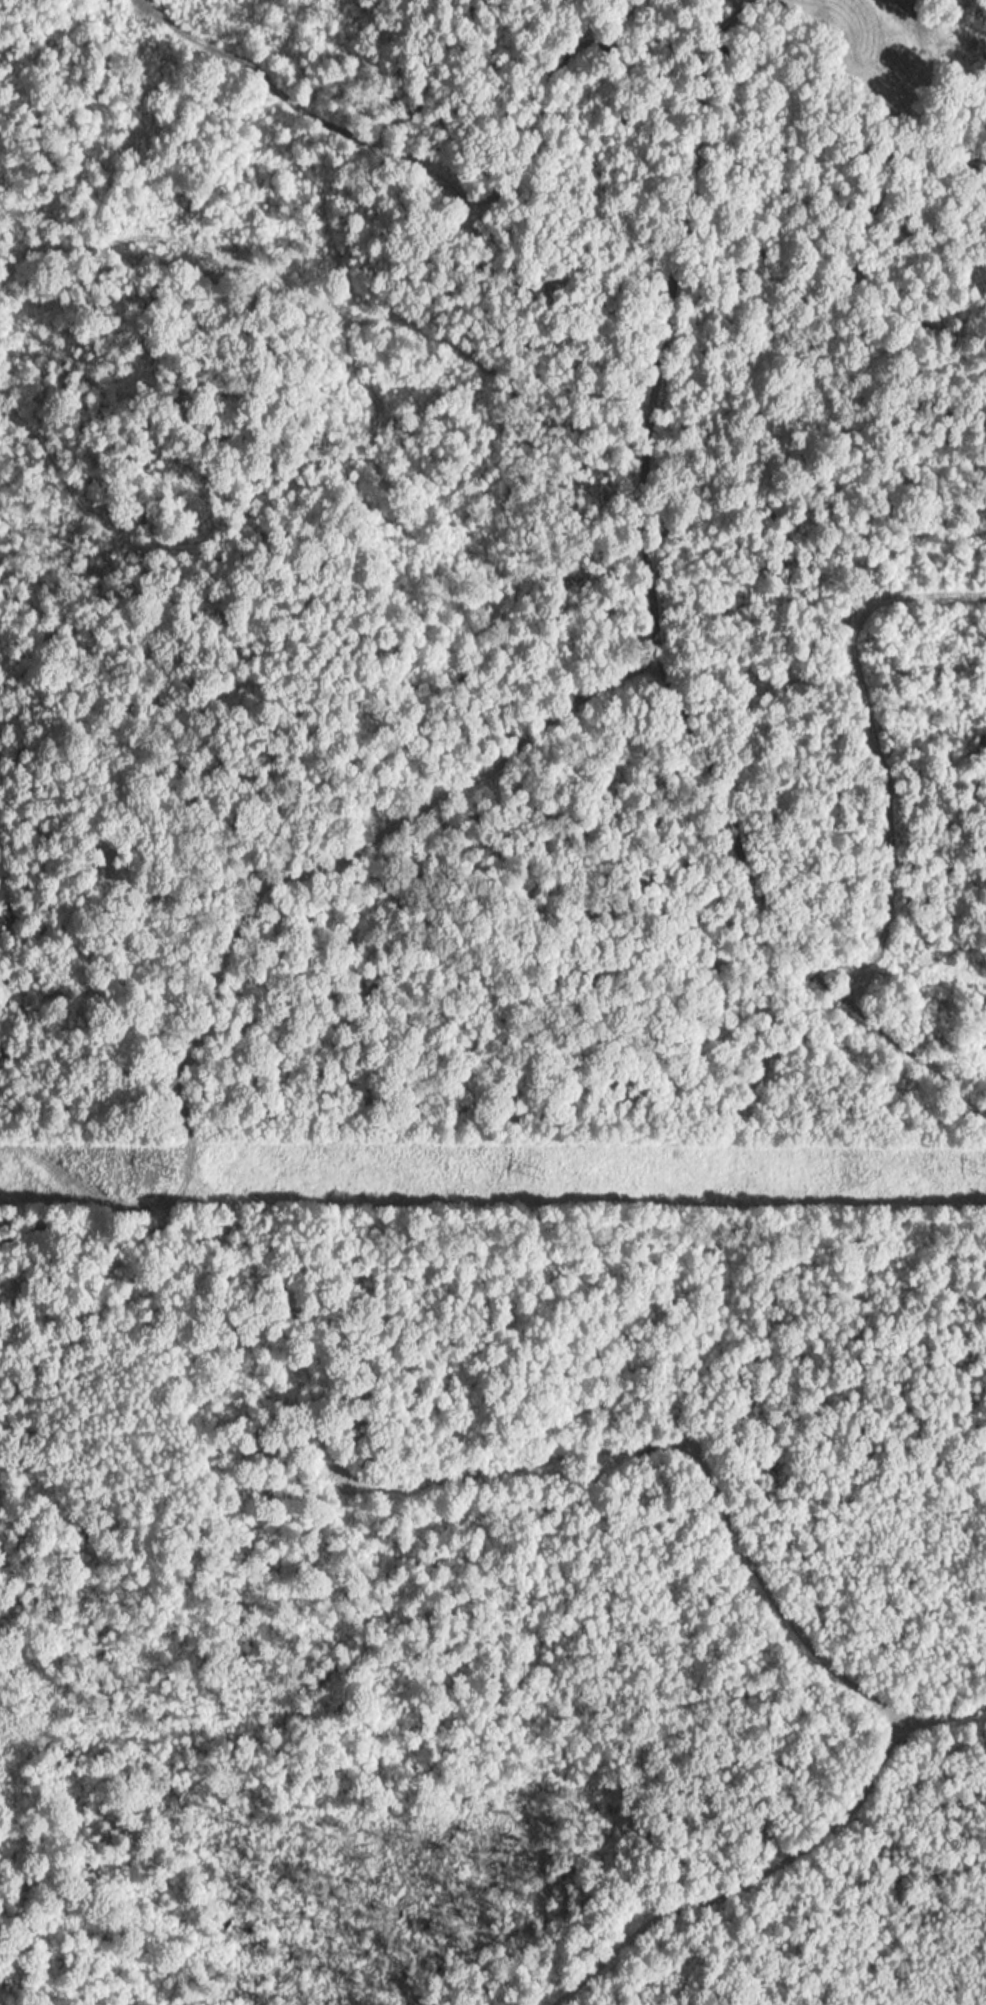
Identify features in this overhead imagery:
power tower: (169, 1171)
power tower: (541, 1174)

